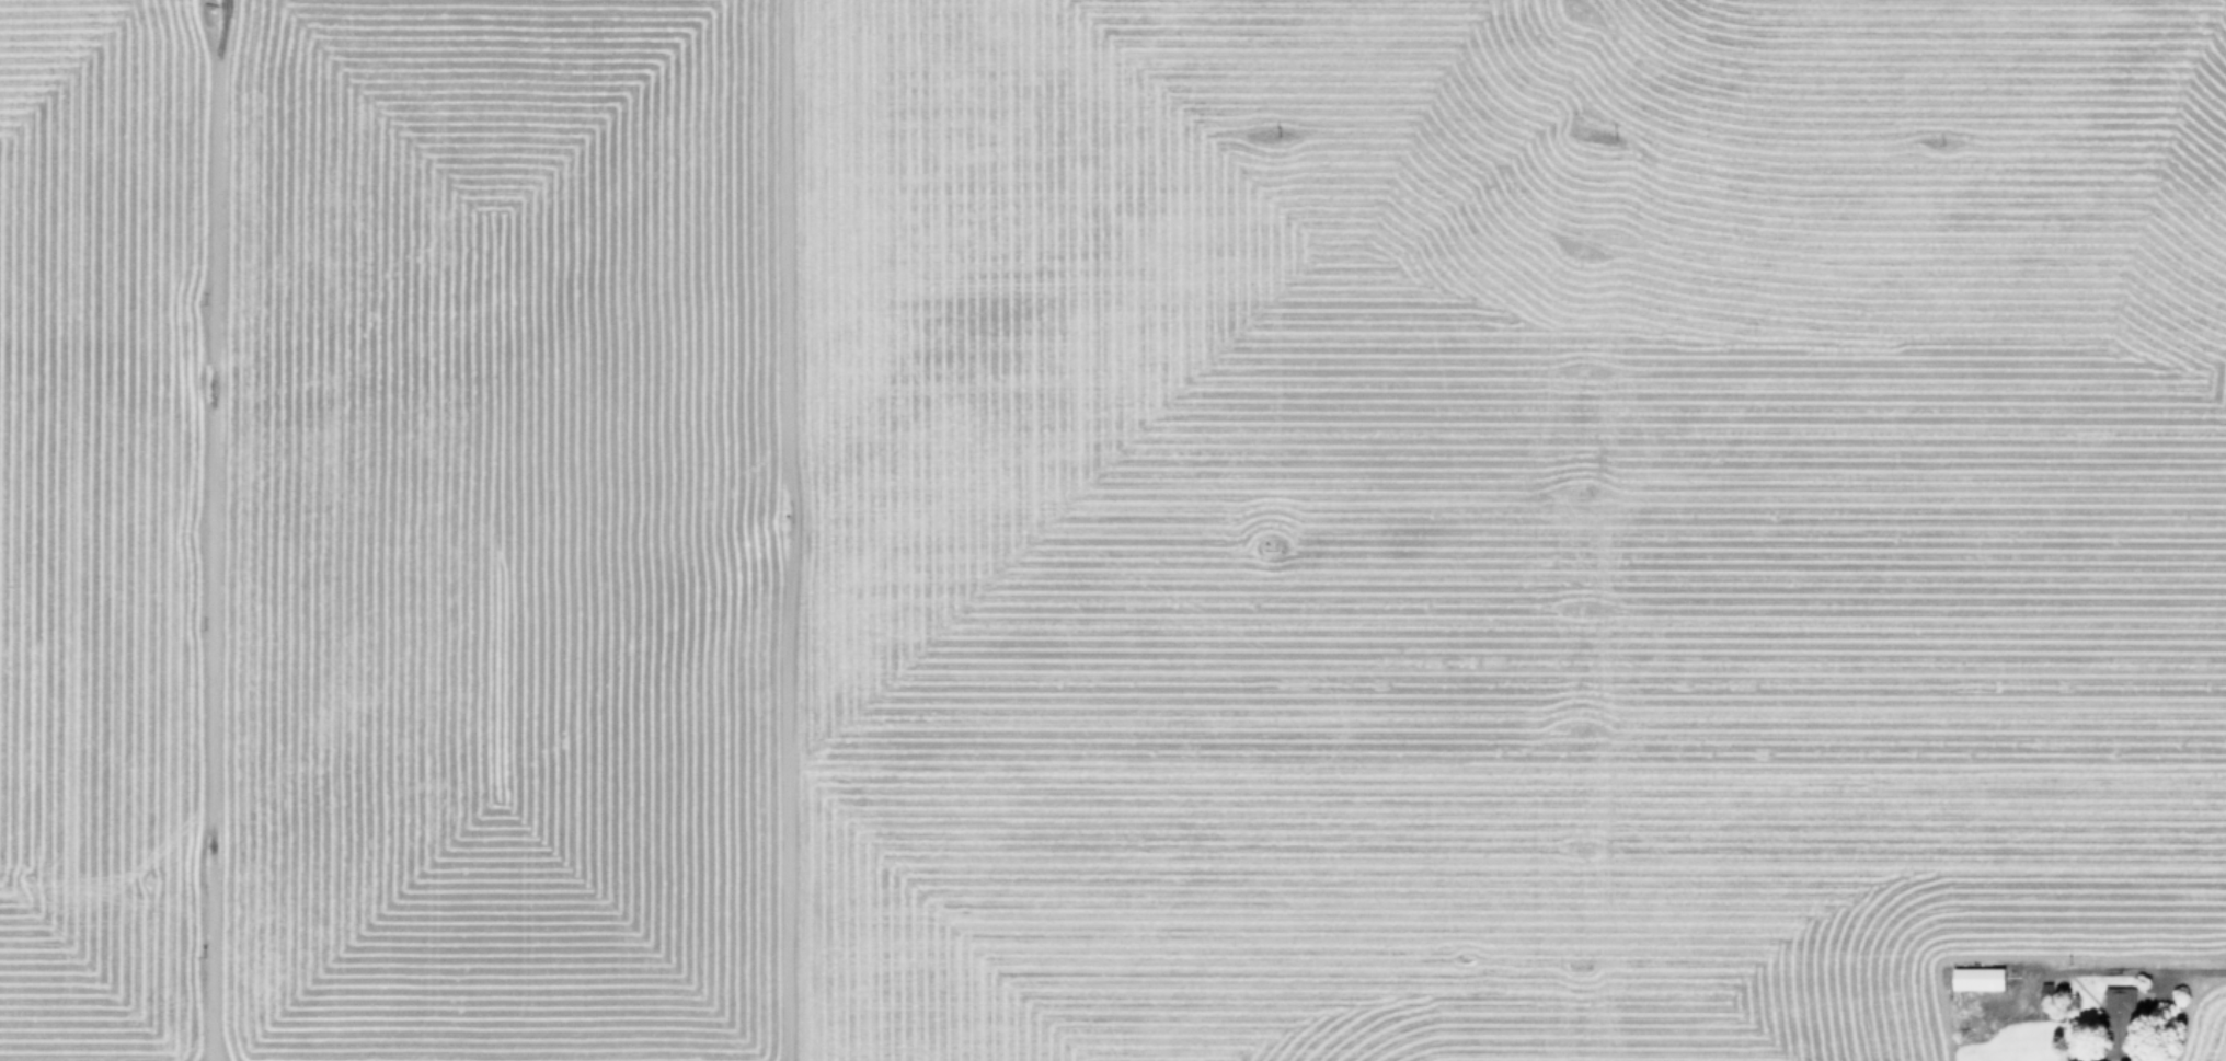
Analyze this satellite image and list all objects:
building: (1127, 20)
road: (921, 79)
building: (906, 188)
crop: (1113, 530)
road: (2193, 969)
building: (1971, 980)
building: (1997, 980)
building: (2119, 1016)

